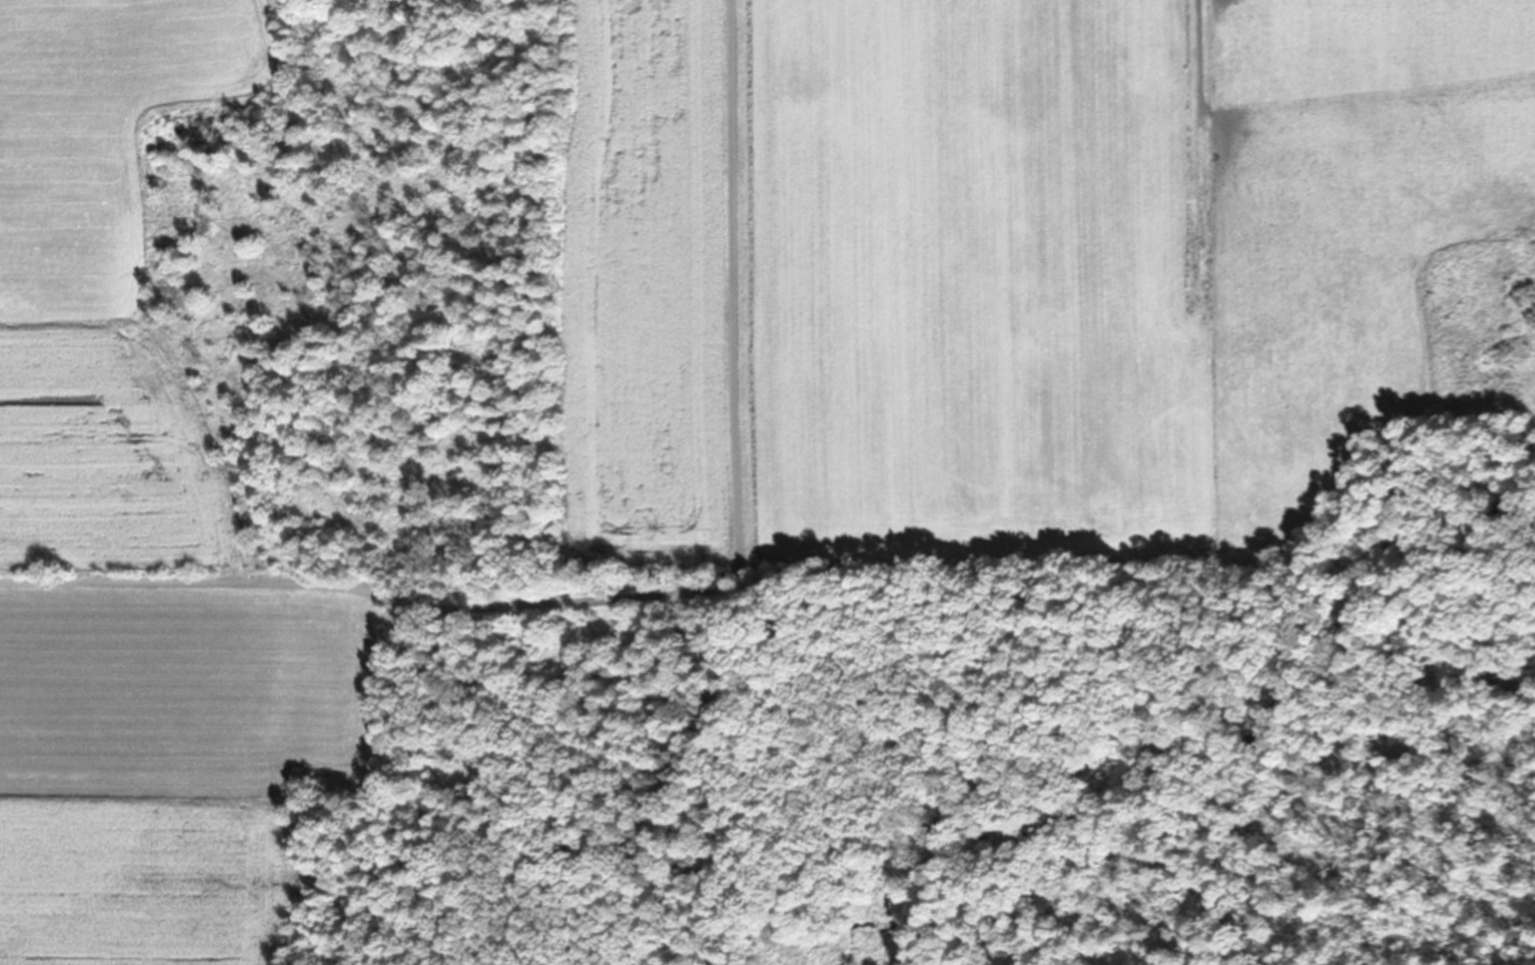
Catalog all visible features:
road: (740, 521)
crop: (141, 539)
road: (142, 581)

